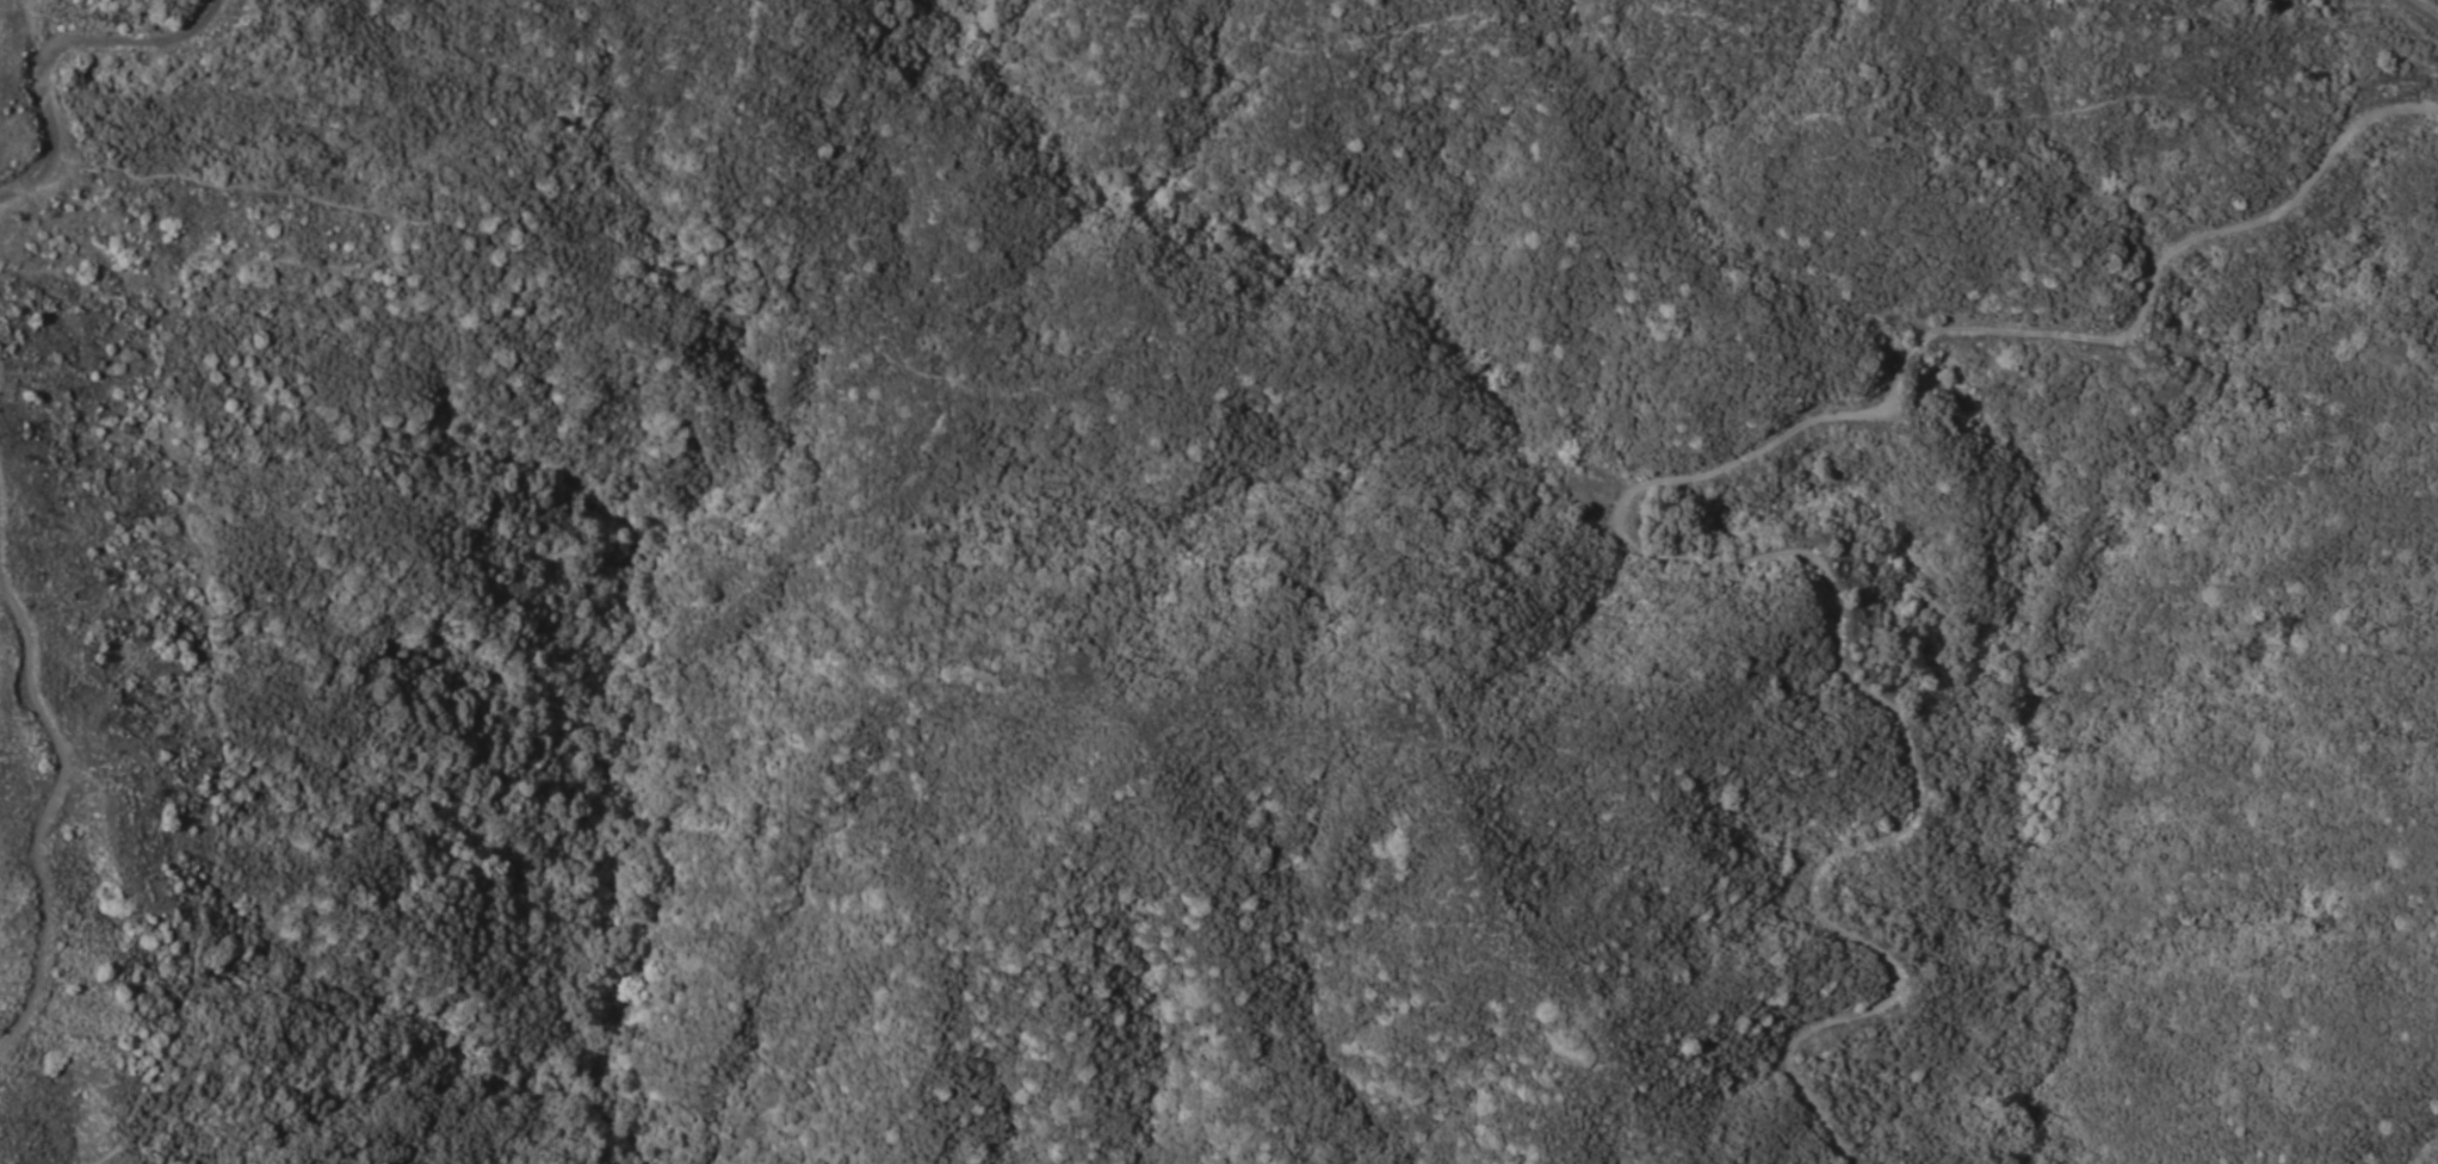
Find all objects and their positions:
road: (2424, 10)
road: (64, 49)
road: (0, 502)
road: (1682, 558)
road: (47, 805)

